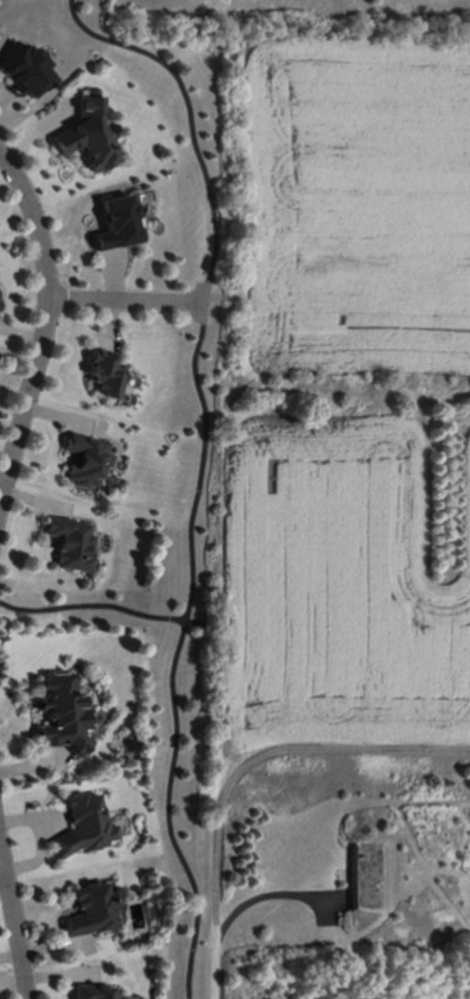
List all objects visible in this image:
building: (23, 70)
building: (85, 135)
building: (114, 224)
road: (206, 284)
road: (118, 302)
road: (44, 325)
building: (101, 374)
crop: (347, 396)
building: (84, 461)
park: (195, 507)
building: (69, 544)
road: (93, 608)
road: (193, 624)
building: (62, 715)
road: (241, 771)
road: (168, 813)
building: (83, 827)
road: (265, 895)
building: (91, 910)
road: (14, 928)
building: (94, 992)

